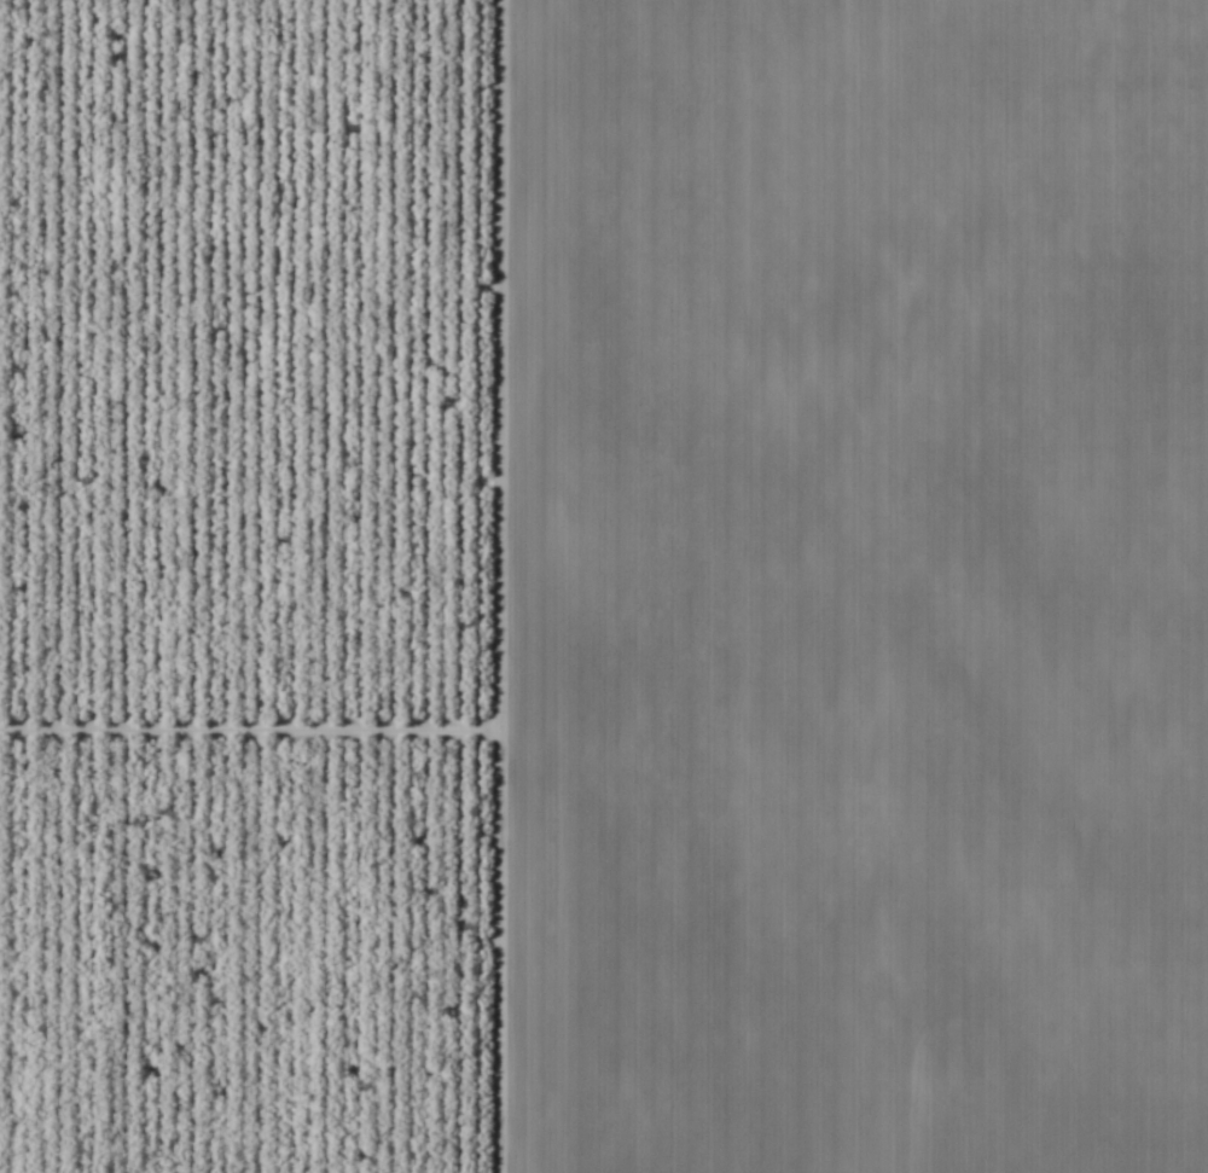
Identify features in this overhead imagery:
road: (494, 586)

